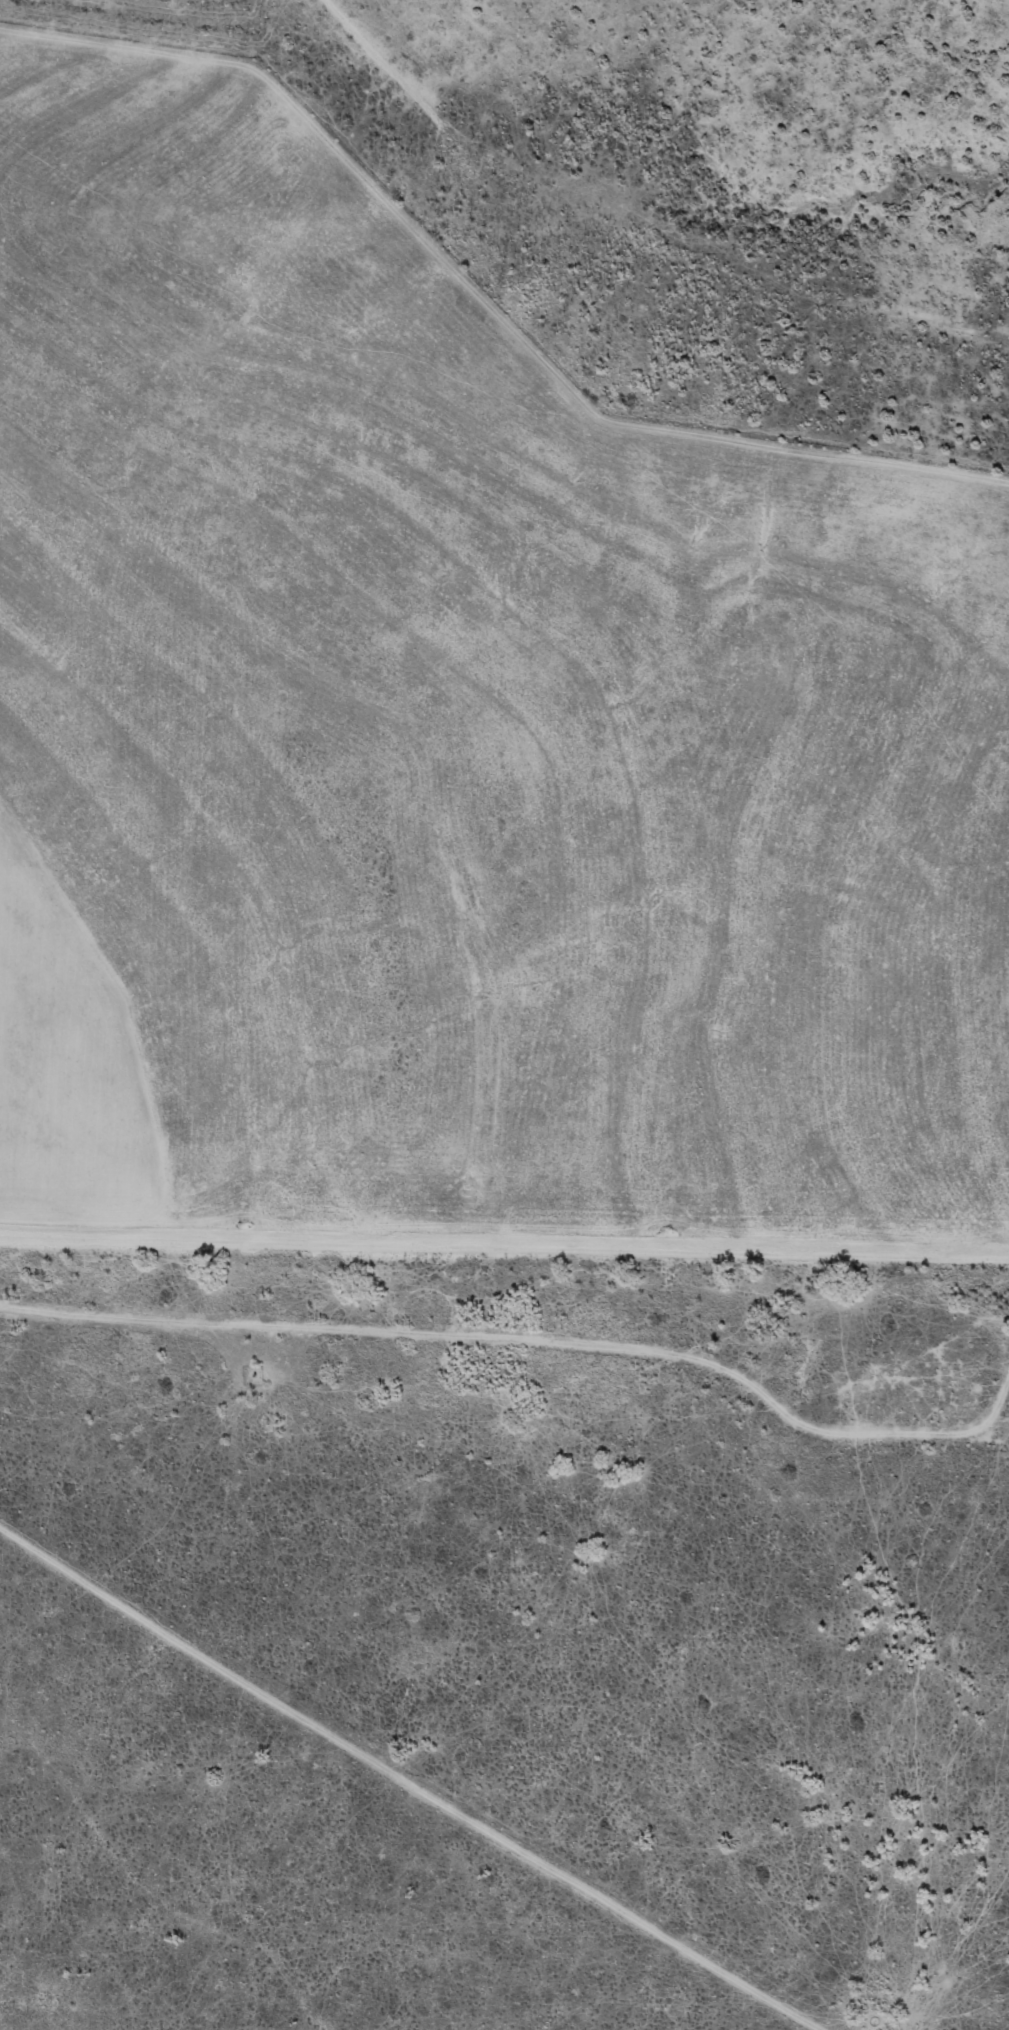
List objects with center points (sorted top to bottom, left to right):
road: (622, 248)
road: (509, 1322)
road: (420, 1773)

